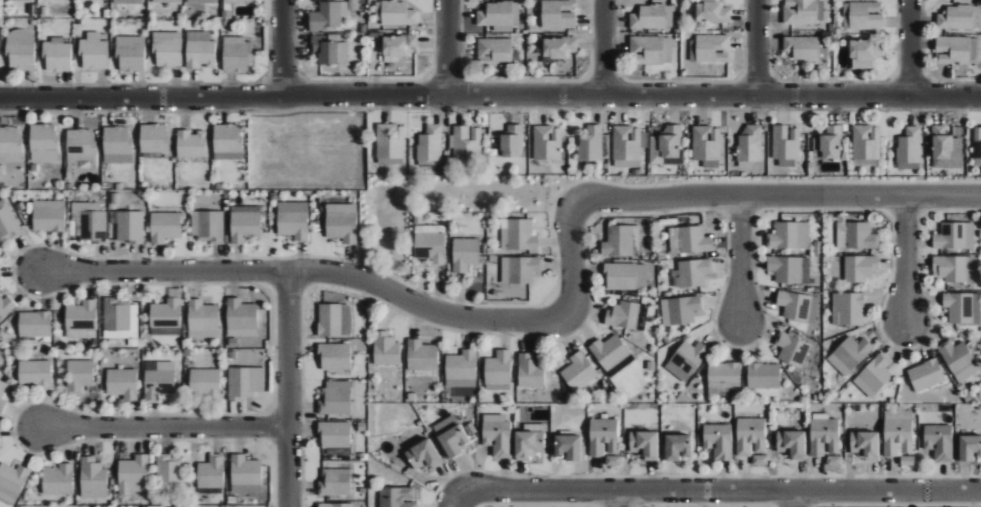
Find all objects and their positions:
building: (24, 0)
building: (168, 1)
building: (201, 1)
building: (236, 1)
building: (128, 2)
building: (804, 11)
building: (712, 12)
building: (398, 14)
building: (499, 14)
building: (558, 14)
building: (328, 15)
building: (866, 15)
building: (649, 17)
building: (956, 18)
building: (398, 45)
road: (446, 47)
building: (559, 47)
road: (602, 47)
road: (757, 47)
building: (802, 47)
road: (910, 47)
road: (281, 48)
building: (325, 48)
building: (20, 49)
building: (168, 49)
building: (709, 49)
building: (200, 50)
building: (646, 50)
building: (953, 50)
building: (494, 51)
building: (93, 52)
building: (130, 53)
building: (864, 53)
building: (56, 55)
building: (237, 55)
road: (490, 95)
building: (154, 138)
building: (228, 142)
building: (467, 142)
building: (512, 142)
building: (786, 142)
building: (867, 142)
building: (44, 143)
building: (547, 143)
building: (627, 143)
building: (707, 143)
building: (828, 143)
building: (978, 143)
building: (10, 144)
building: (192, 144)
building: (390, 144)
building: (430, 144)
building: (591, 144)
building: (117, 145)
building: (666, 145)
building: (750, 145)
building: (80, 148)
building: (945, 148)
building: (909, 149)
road: (578, 204)
building: (49, 216)
building: (294, 220)
building: (90, 221)
building: (342, 222)
building: (8, 223)
building: (245, 223)
building: (208, 226)
building: (130, 227)
building: (165, 227)
building: (518, 235)
building: (790, 236)
building: (856, 236)
building: (955, 236)
building: (694, 240)
building: (619, 242)
building: (430, 243)
building: (465, 254)
road: (740, 260)
road: (905, 260)
building: (860, 268)
building: (952, 268)
building: (790, 269)
road: (163, 270)
building: (520, 270)
building: (691, 273)
building: (626, 276)
building: (799, 306)
building: (6, 307)
building: (963, 308)
building: (848, 309)
building: (680, 310)
building: (623, 315)
building: (166, 318)
building: (241, 318)
building: (121, 319)
building: (81, 320)
building: (203, 320)
building: (334, 320)
building: (34, 324)
building: (385, 349)
building: (792, 349)
building: (612, 355)
building: (850, 355)
building: (422, 356)
building: (335, 357)
building: (687, 360)
building: (960, 360)
building: (462, 367)
building: (498, 371)
building: (531, 371)
building: (579, 372)
building: (34, 373)
building: (926, 375)
building: (79, 376)
building: (764, 376)
building: (875, 376)
building: (159, 379)
building: (724, 379)
building: (245, 382)
building: (123, 383)
building: (205, 383)
road: (286, 387)
building: (2, 395)
building: (335, 398)
road: (161, 427)
building: (335, 435)
building: (749, 435)
building: (499, 437)
building: (602, 437)
building: (823, 437)
building: (897, 437)
building: (459, 440)
building: (716, 440)
building: (936, 441)
building: (532, 444)
building: (641, 444)
building: (788, 444)
building: (862, 445)
building: (570, 446)
building: (673, 446)
building: (967, 448)
building: (425, 454)
building: (758, 460)
building: (611, 461)
building: (832, 461)
building: (906, 461)
building: (169, 471)
building: (245, 471)
building: (211, 473)
building: (134, 475)
building: (93, 478)
building: (58, 480)
building: (11, 483)
building: (335, 483)
road: (719, 491)
building: (399, 497)
road: (615, 499)
road: (793, 499)
road: (455, 501)
building: (334, 505)

